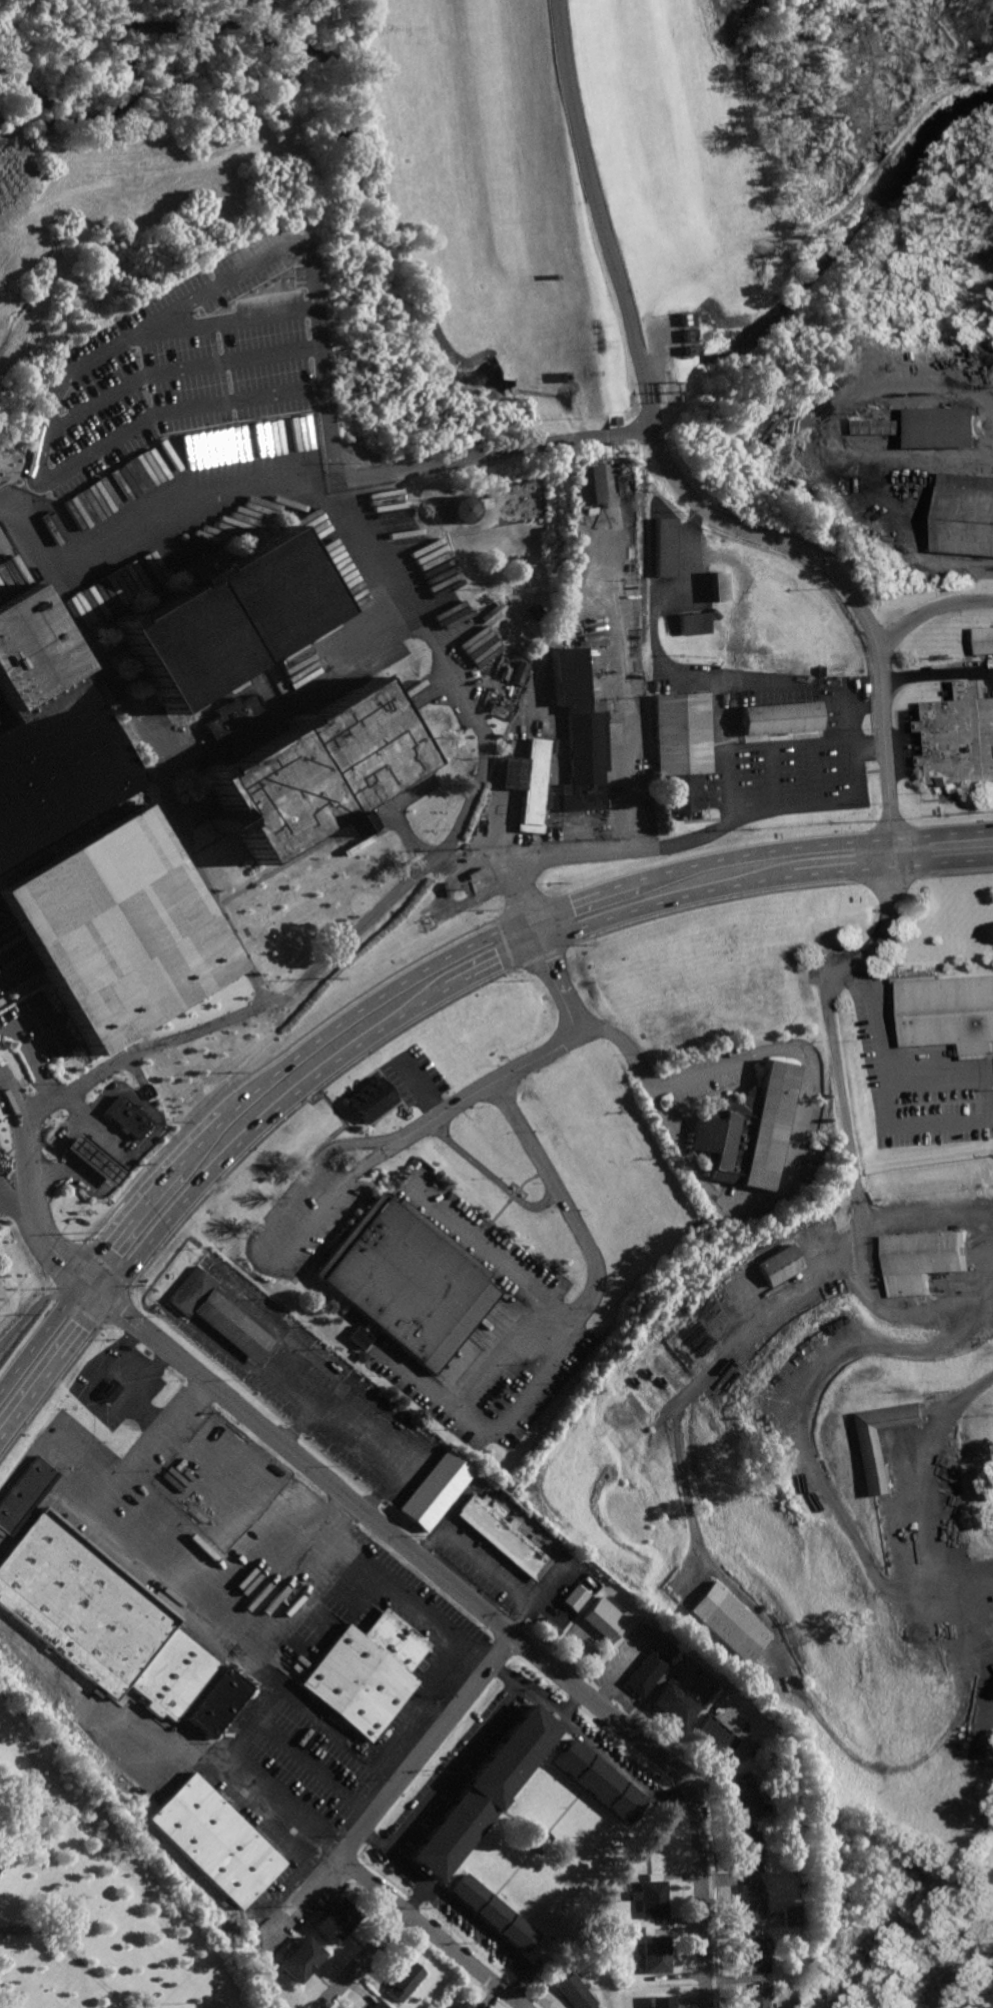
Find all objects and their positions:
road: (935, 101)
road: (881, 158)
road: (836, 214)
road: (202, 287)
street lamp: (216, 302)
building: (681, 318)
building: (684, 334)
building: (685, 350)
street lamp: (131, 354)
road: (165, 359)
street lamp: (243, 382)
road: (168, 404)
street lamp: (174, 426)
building: (883, 426)
building: (944, 427)
road: (172, 450)
parking lot: (220, 454)
street lamp: (102, 467)
street lamp: (303, 469)
road: (675, 476)
road: (11, 478)
building: (619, 481)
building: (584, 483)
street lamp: (157, 494)
road: (186, 494)
building: (460, 508)
storage tank: (460, 508)
building: (964, 513)
road: (198, 538)
building: (661, 546)
road: (324, 549)
building: (199, 563)
building: (184, 570)
building: (716, 586)
building: (265, 593)
building: (532, 611)
road: (928, 612)
building: (690, 622)
building: (986, 640)
building: (180, 643)
road: (330, 643)
road: (652, 649)
building: (519, 669)
road: (936, 675)
road: (618, 679)
road: (714, 714)
building: (232, 715)
building: (776, 716)
building: (578, 732)
road: (482, 733)
building: (961, 737)
building: (353, 744)
road: (748, 744)
building: (680, 747)
road: (150, 748)
road: (869, 748)
road: (813, 771)
road: (771, 775)
parking lot: (785, 776)
building: (527, 779)
flagpole: (180, 790)
building: (269, 795)
building: (217, 821)
building: (337, 824)
road: (732, 824)
building: (88, 852)
road: (780, 890)
road: (521, 965)
road: (419, 973)
road: (560, 975)
road: (416, 1009)
building: (948, 1012)
road: (30, 1014)
parking lot: (36, 1027)
road: (44, 1037)
road: (628, 1053)
road: (270, 1056)
road: (33, 1061)
parking lot: (710, 1070)
parking lot: (417, 1071)
road: (979, 1074)
road: (422, 1087)
parking lot: (919, 1089)
building: (373, 1094)
road: (840, 1099)
road: (303, 1101)
road: (332, 1107)
building: (126, 1112)
building: (749, 1131)
road: (322, 1139)
road: (796, 1139)
road: (24, 1142)
building: (94, 1158)
gas station: (94, 1158)
road: (490, 1175)
road: (342, 1187)
road: (4, 1193)
parking lot: (307, 1209)
road: (39, 1232)
road: (492, 1247)
building: (924, 1259)
building: (777, 1264)
building: (412, 1274)
road: (125, 1281)
road: (882, 1305)
building: (220, 1315)
road: (27, 1317)
parking lot: (559, 1319)
road: (576, 1323)
building: (358, 1336)
building: (109, 1389)
road: (51, 1391)
road: (682, 1404)
parking lot: (338, 1408)
building: (878, 1460)
building: (435, 1489)
building: (24, 1492)
road: (341, 1518)
building: (16, 1524)
road: (851, 1534)
building: (503, 1537)
road: (336, 1538)
parking lot: (479, 1561)
road: (486, 1564)
road: (967, 1576)
building: (576, 1596)
road: (296, 1602)
road: (474, 1602)
parking lot: (272, 1604)
road: (979, 1610)
building: (100, 1618)
road: (198, 1618)
building: (604, 1618)
building: (731, 1621)
building: (366, 1671)
building: (647, 1672)
road: (511, 1674)
building: (214, 1700)
road: (571, 1703)
building: (675, 1704)
building: (714, 1737)
road: (315, 1764)
road: (451, 1767)
road: (625, 1770)
road: (401, 1779)
building: (597, 1779)
building: (483, 1791)
building: (746, 1797)
road: (374, 1837)
building: (541, 1837)
building: (213, 1840)
building: (749, 1850)
building: (650, 1897)
road: (416, 1898)
building: (751, 1899)
building: (492, 1912)
building: (790, 1915)
building: (334, 1919)
road: (496, 1941)
building: (655, 1953)
building: (754, 1953)
road: (70, 1954)
building: (299, 1958)
road: (361, 1959)
road: (463, 1959)
building: (404, 1980)
building: (574, 1992)
building: (756, 1996)
building: (659, 2001)
building: (376, 2004)
building: (460, 2004)

